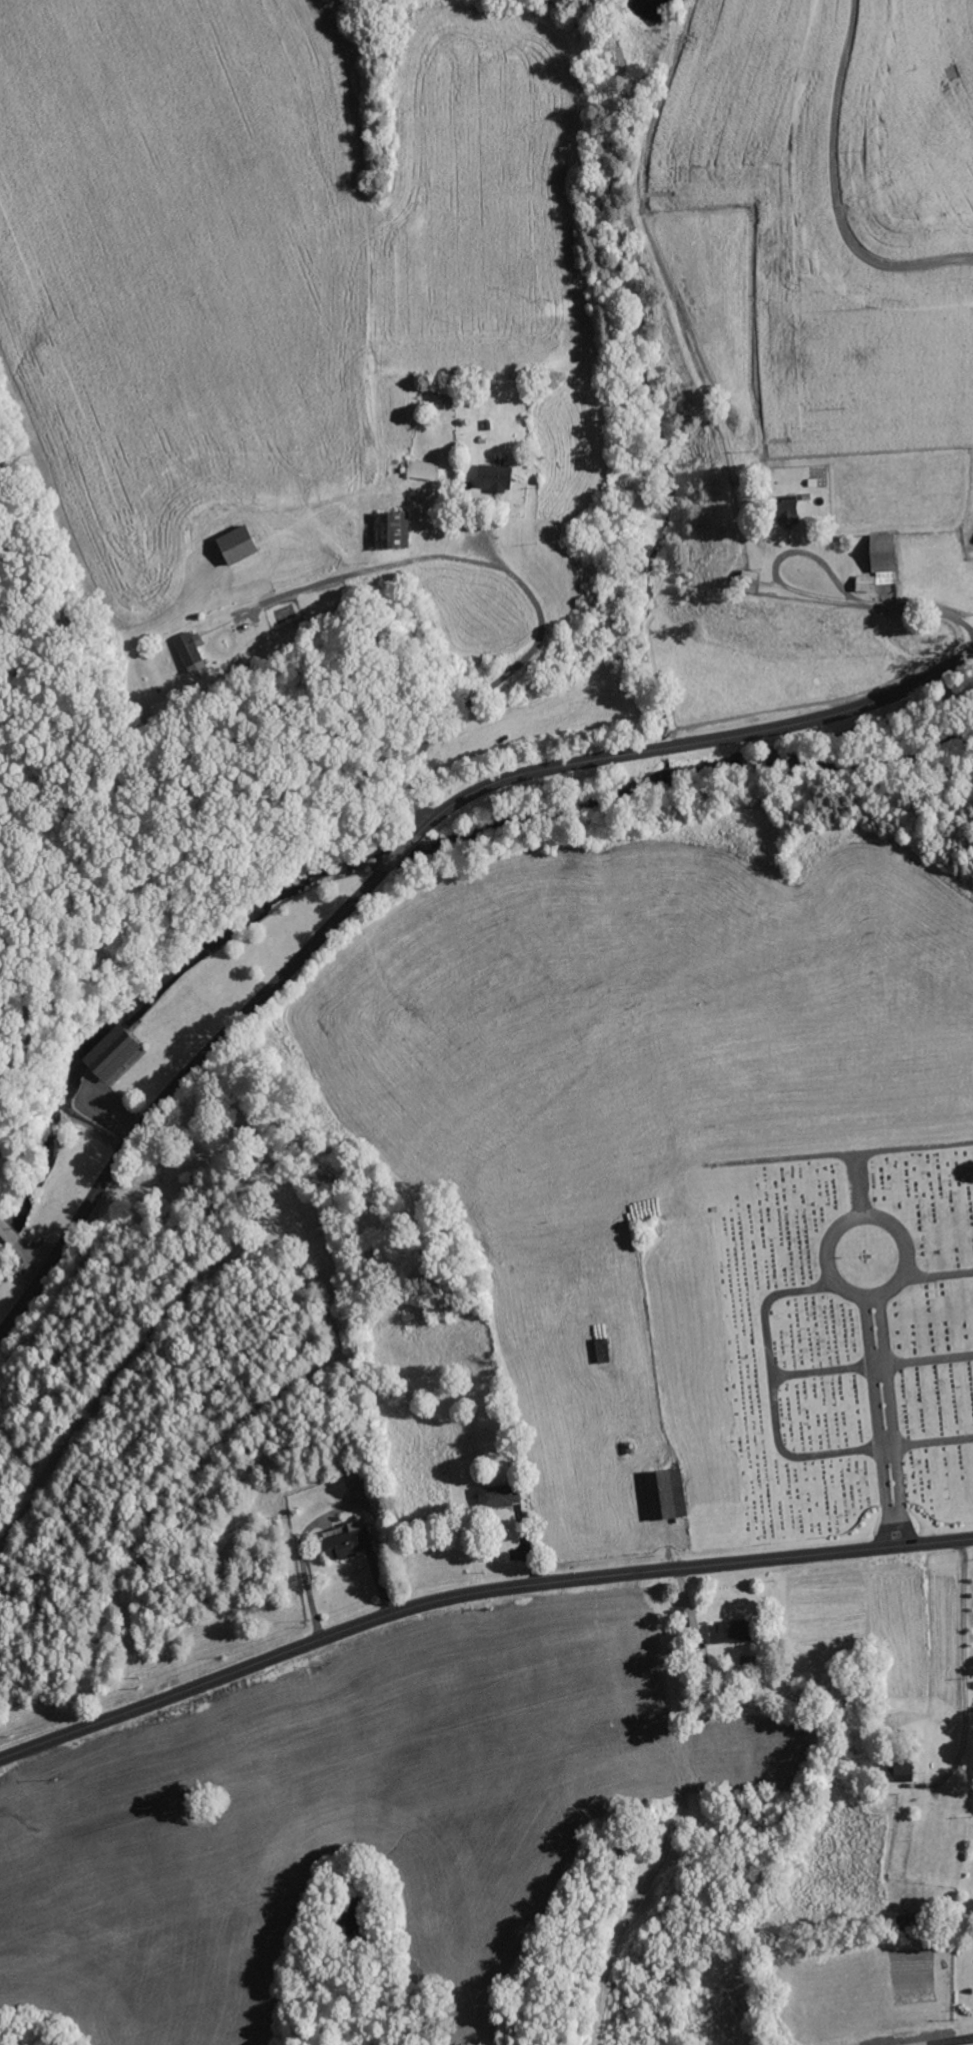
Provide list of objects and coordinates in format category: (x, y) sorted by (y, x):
building: (498, 478)
building: (787, 511)
building: (392, 530)
building: (234, 545)
building: (878, 563)
building: (188, 648)
road: (397, 857)
road: (323, 911)
building: (111, 1053)
road: (861, 1216)
park: (848, 1337)
road: (772, 1364)
road: (874, 1369)
road: (887, 1422)
building: (667, 1492)
building: (499, 1495)
building: (347, 1541)
road: (473, 1594)
building: (728, 1631)
building: (902, 1768)
building: (910, 1921)

